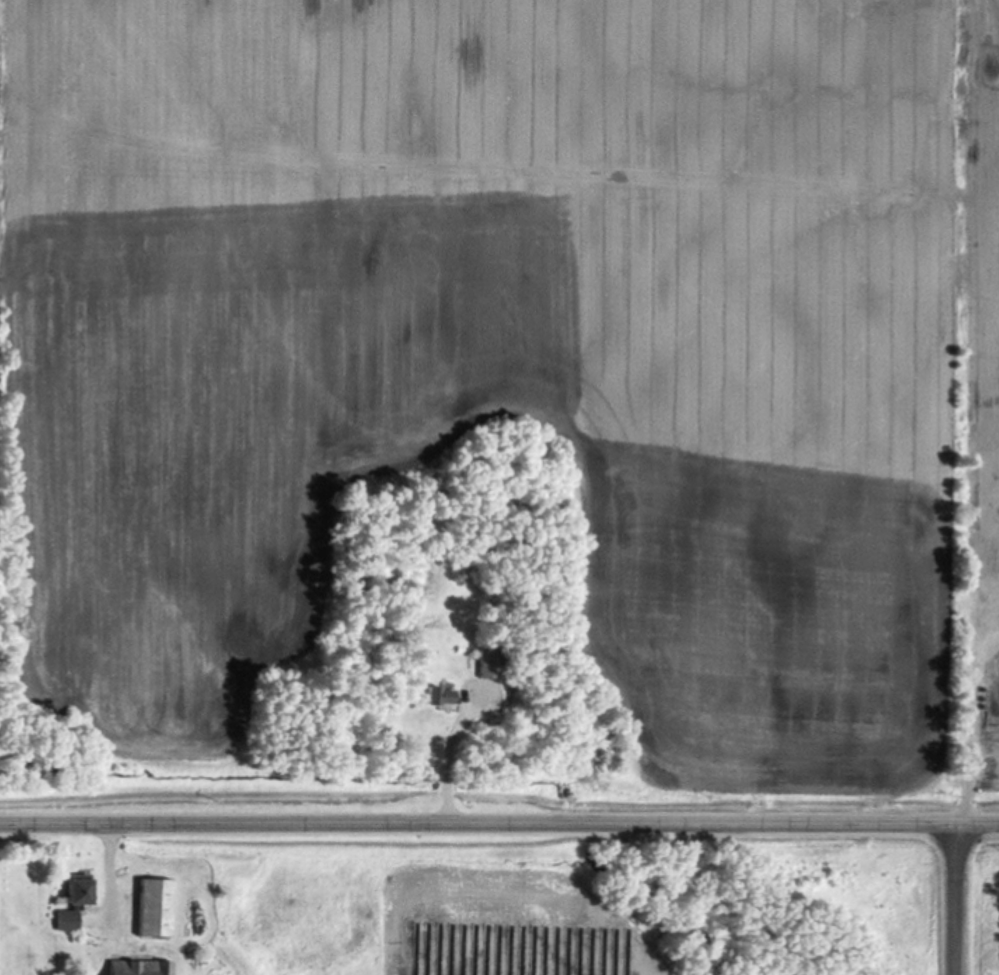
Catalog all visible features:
road: (975, 716)
road: (447, 768)
road: (499, 822)
road: (107, 877)
road: (954, 899)
building: (67, 904)
building: (149, 910)
building: (125, 968)
building: (161, 968)

